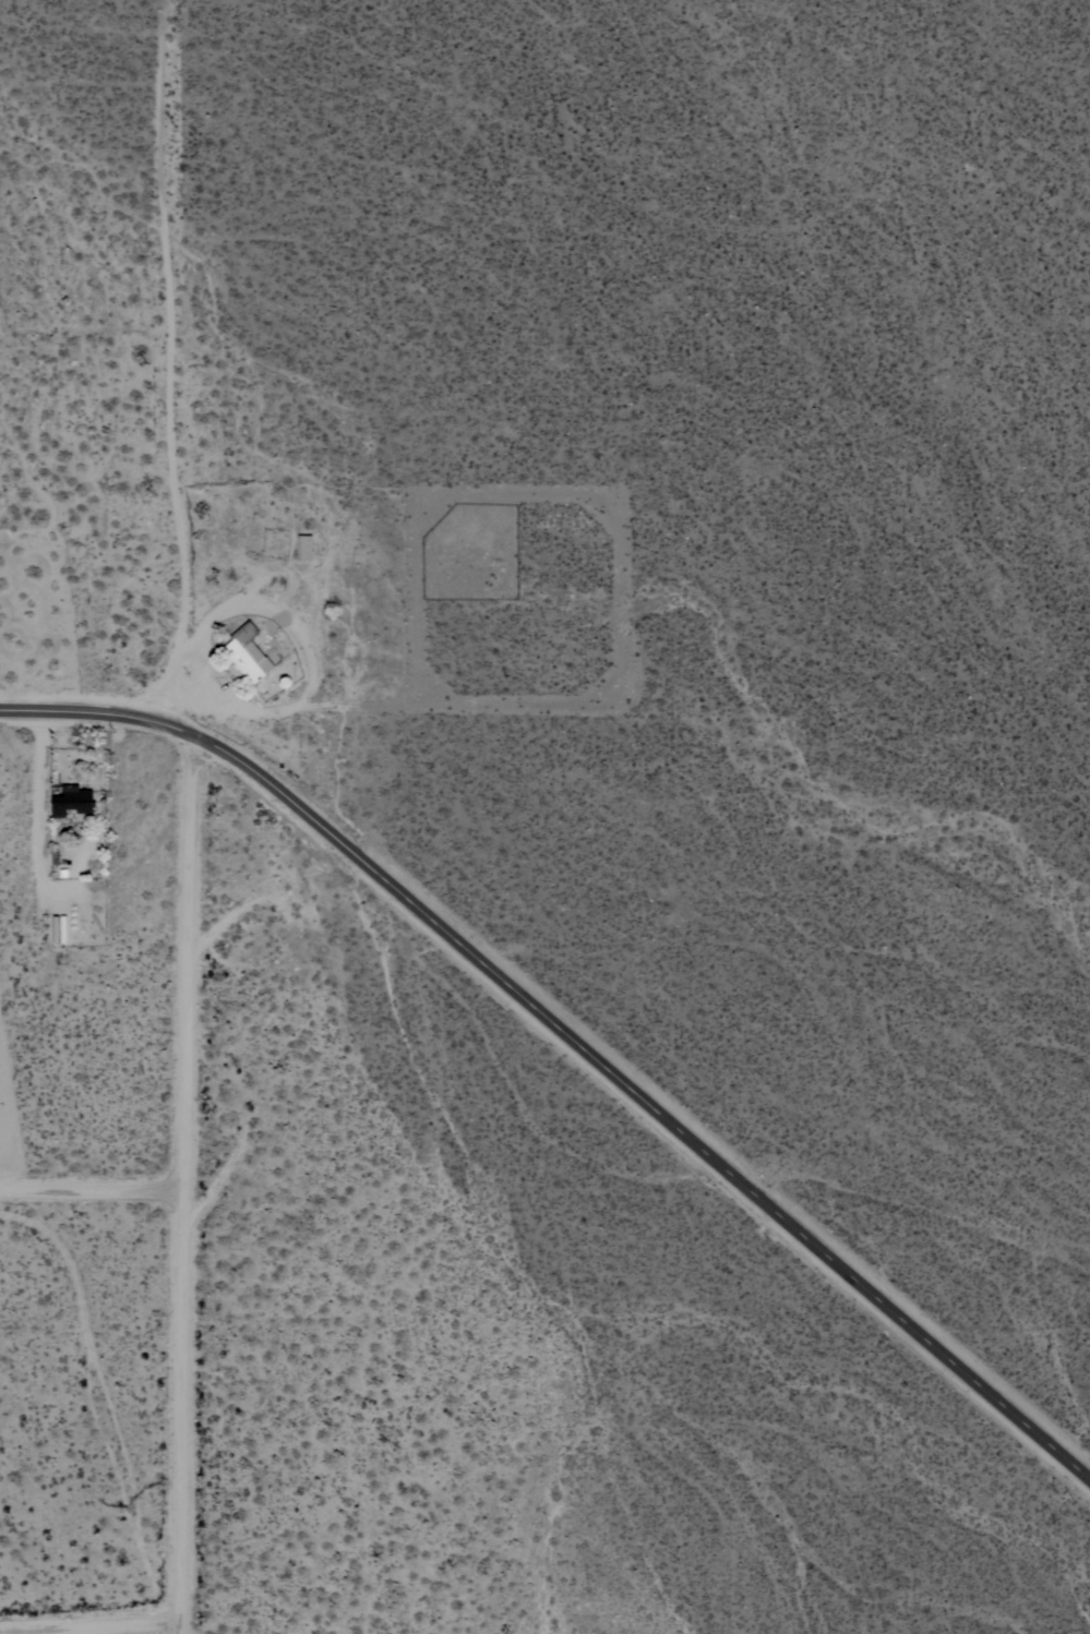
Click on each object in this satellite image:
road: (171, 367)
building: (304, 546)
building: (247, 653)
road: (95, 718)
road: (38, 788)
building: (72, 801)
road: (643, 1105)
road: (182, 1187)
road: (91, 1193)
road: (131, 1632)

